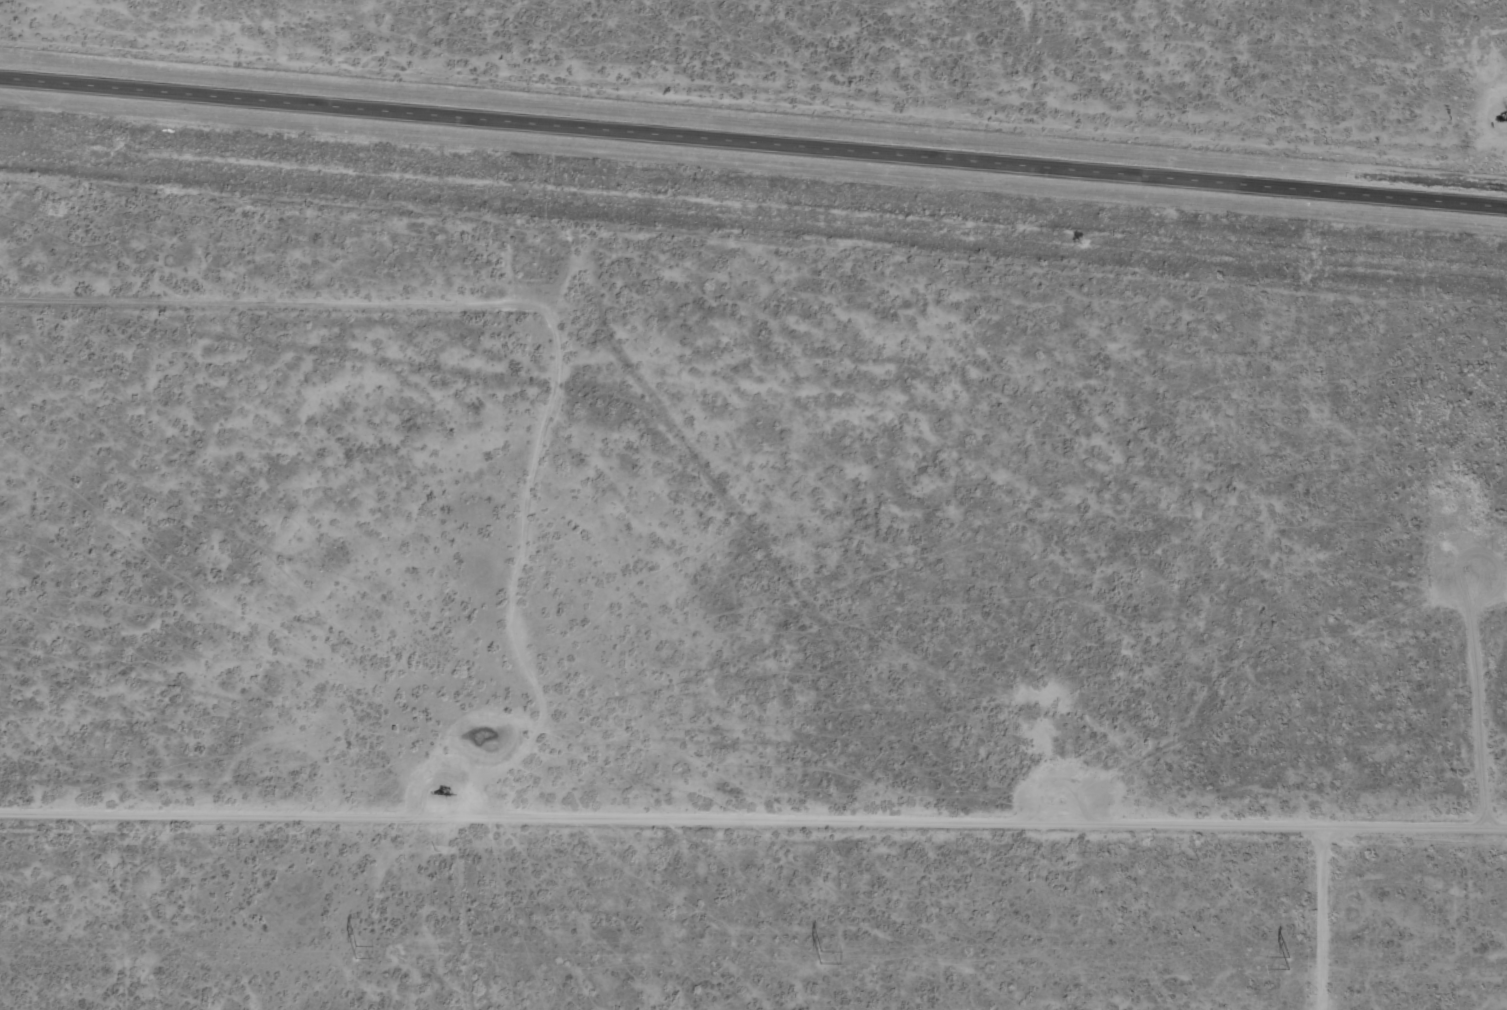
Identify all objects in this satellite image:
road: (753, 139)
road: (546, 424)
road: (756, 819)
road: (1421, 835)
power tower: (355, 948)
power tower: (822, 955)
power tower: (1291, 959)

